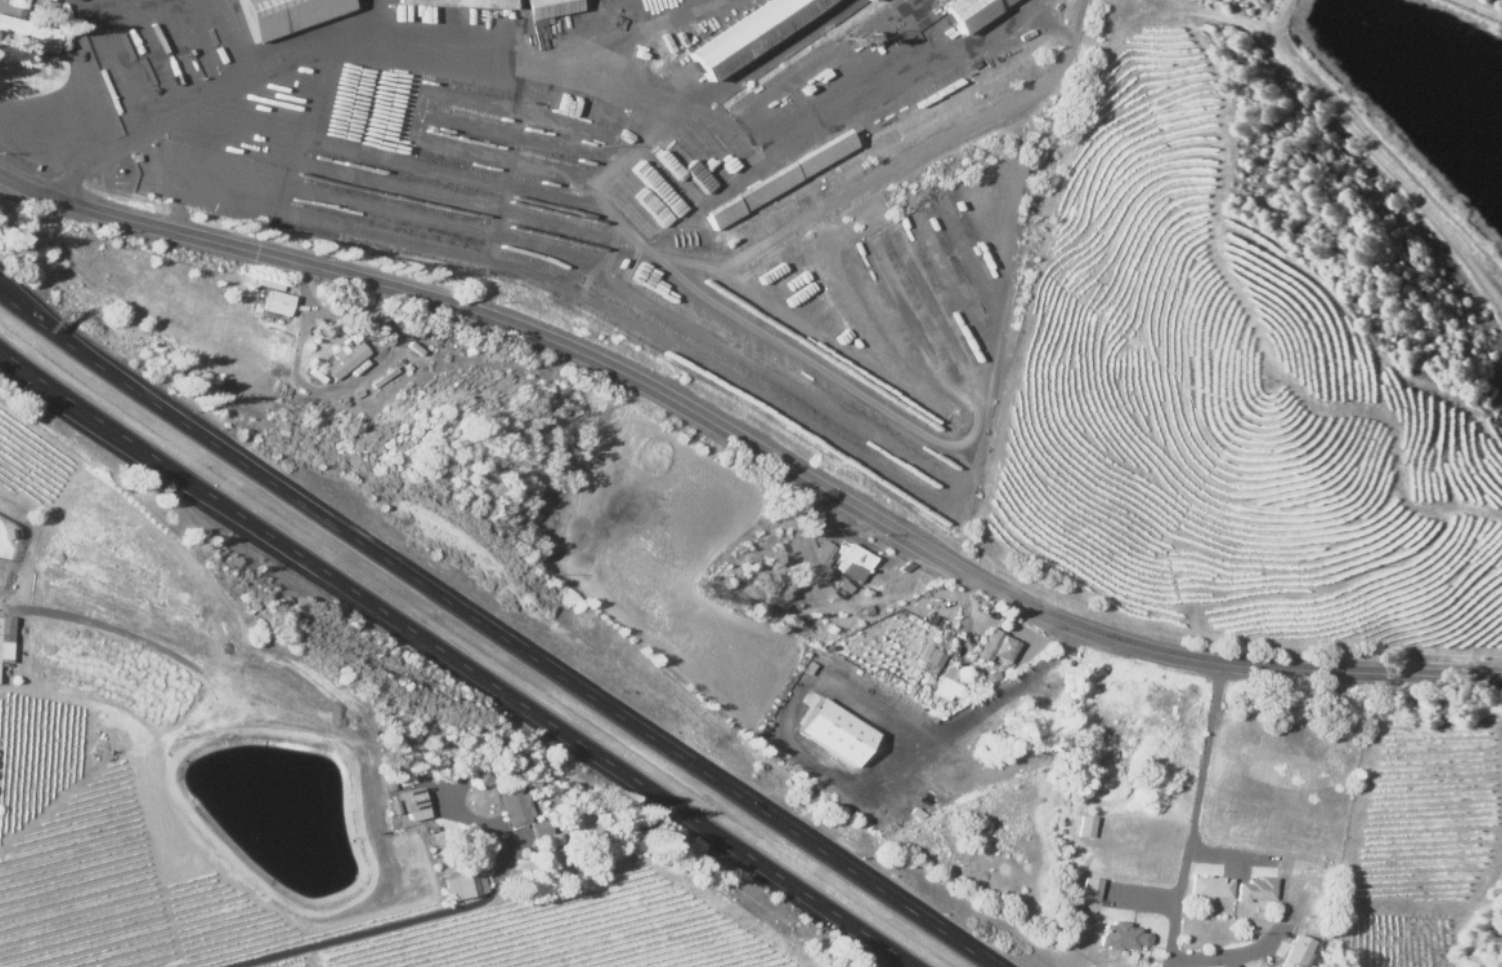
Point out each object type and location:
building: (18, 3)
building: (460, 5)
building: (547, 10)
building: (970, 11)
building: (285, 14)
building: (750, 30)
building: (29, 32)
road: (224, 88)
building: (833, 145)
road: (27, 191)
building: (277, 304)
road: (43, 317)
building: (415, 347)
building: (344, 360)
building: (410, 366)
building: (315, 375)
building: (386, 376)
road: (344, 381)
building: (361, 392)
road: (782, 454)
building: (829, 551)
building: (855, 563)
building: (905, 568)
building: (845, 587)
building: (906, 591)
building: (697, 602)
building: (125, 620)
road: (497, 632)
building: (221, 636)
building: (5, 640)
building: (997, 648)
building: (203, 657)
road: (457, 661)
building: (932, 664)
building: (989, 678)
road: (195, 680)
building: (946, 684)
building: (834, 733)
road: (976, 735)
building: (479, 777)
building: (413, 801)
building: (514, 808)
building: (416, 816)
road: (1206, 824)
building: (1085, 827)
building: (542, 831)
building: (465, 887)
building: (1090, 889)
building: (1210, 889)
building: (1255, 891)
road: (353, 935)
building: (1121, 938)
building: (1297, 952)
road: (1260, 957)
building: (1273, 966)

